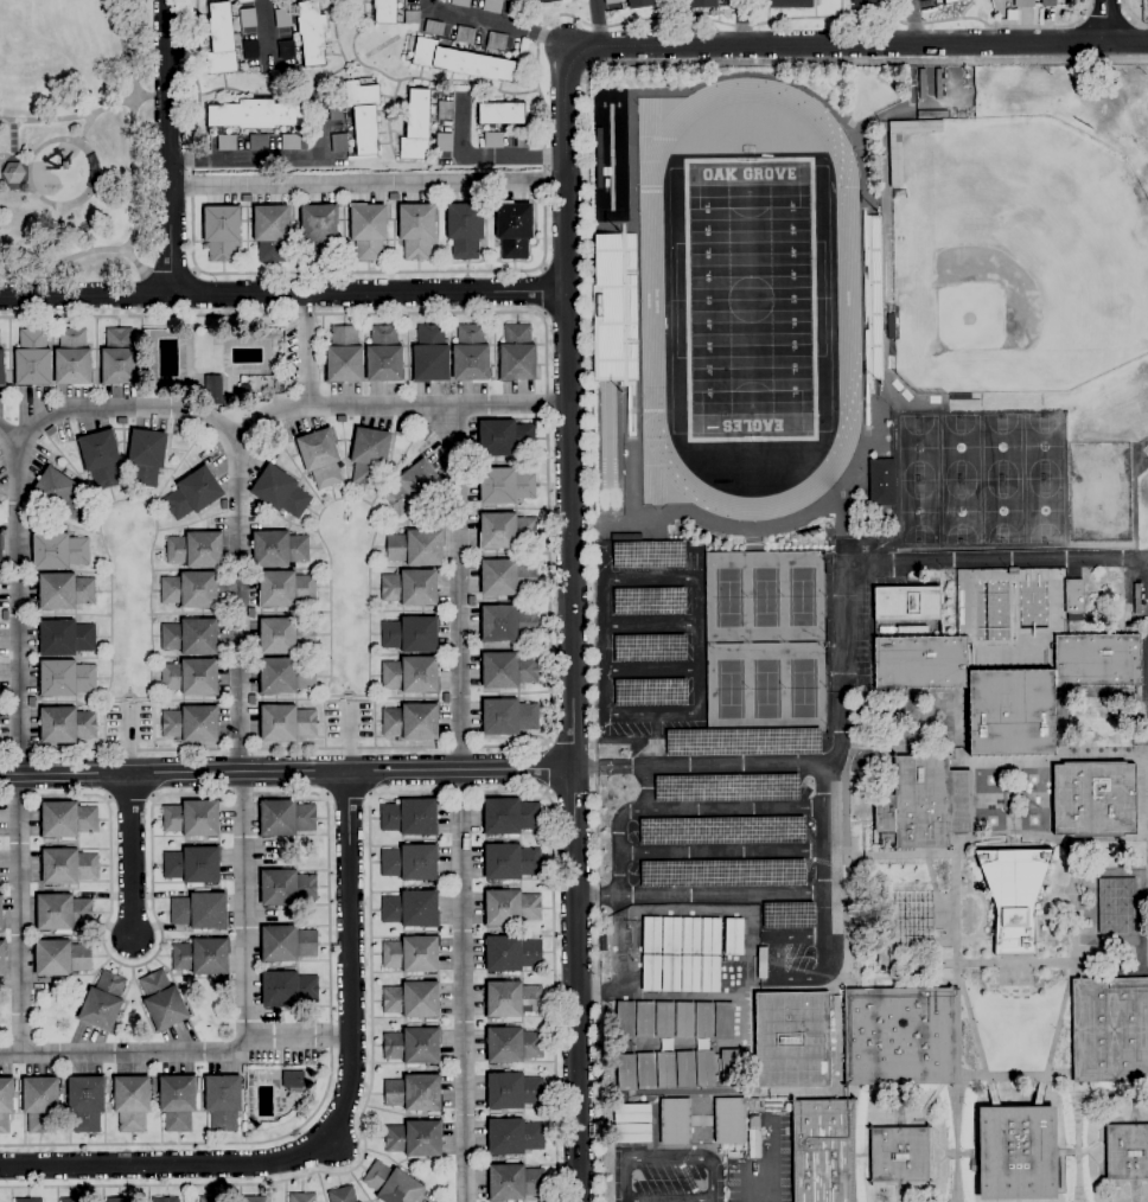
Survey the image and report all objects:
building: (921, 0)
building: (547, 1)
building: (951, 1)
building: (460, 2)
building: (611, 2)
building: (639, 4)
building: (701, 4)
building: (784, 4)
building: (862, 4)
building: (1023, 4)
building: (1047, 4)
building: (1147, 4)
building: (492, 6)
building: (384, 11)
building: (247, 18)
building: (282, 18)
building: (412, 18)
road: (1128, 19)
road: (913, 20)
road: (1106, 20)
road: (742, 21)
road: (1103, 21)
road: (598, 23)
road: (499, 25)
building: (434, 27)
road: (266, 31)
building: (311, 32)
building: (465, 36)
building: (221, 40)
building: (496, 41)
road: (856, 43)
road: (125, 49)
building: (250, 50)
building: (286, 50)
building: (460, 62)
building: (921, 84)
park: (869, 96)
building: (445, 110)
building: (336, 111)
building: (500, 114)
building: (932, 114)
road: (84, 115)
building: (255, 115)
building: (363, 116)
road: (87, 127)
building: (416, 127)
building: (916, 127)
building: (275, 133)
road: (13, 140)
park: (76, 140)
building: (522, 140)
building: (492, 141)
building: (225, 142)
building: (259, 142)
building: (291, 142)
building: (444, 142)
building: (338, 143)
road: (168, 146)
road: (40, 147)
road: (485, 158)
road: (15, 159)
building: (895, 160)
road: (274, 161)
road: (544, 170)
building: (13, 173)
road: (133, 173)
road: (368, 185)
road: (17, 190)
building: (512, 229)
building: (318, 230)
building: (368, 230)
building: (465, 230)
building: (416, 231)
building: (221, 232)
building: (270, 232)
park: (1014, 256)
road: (63, 260)
road: (134, 261)
road: (168, 273)
road: (541, 292)
road: (282, 294)
track: (651, 300)
park: (750, 300)
building: (607, 311)
road: (321, 314)
building: (891, 327)
road: (305, 350)
building: (430, 354)
building: (517, 354)
road: (588, 354)
building: (344, 356)
building: (384, 356)
building: (471, 356)
building: (32, 358)
building: (119, 358)
building: (72, 359)
building: (1, 367)
building: (279, 386)
building: (212, 390)
building: (959, 397)
road: (396, 405)
building: (504, 439)
park: (1044, 447)
park: (918, 448)
park: (959, 448)
park: (1002, 448)
building: (369, 456)
building: (146, 458)
building: (320, 458)
building: (101, 460)
building: (880, 482)
building: (505, 486)
building: (413, 487)
building: (280, 492)
building: (1, 493)
building: (193, 493)
building: (59, 494)
park: (1045, 511)
park: (919, 512)
park: (961, 512)
park: (1002, 512)
building: (505, 531)
building: (415, 549)
building: (279, 550)
building: (58, 551)
building: (196, 551)
building: (0, 552)
road: (900, 567)
building: (1012, 571)
building: (506, 577)
road: (651, 578)
building: (410, 588)
building: (285, 589)
building: (189, 590)
building: (64, 592)
road: (697, 599)
building: (1073, 599)
building: (906, 603)
road: (240, 618)
road: (350, 618)
building: (1116, 620)
road: (128, 621)
road: (652, 621)
building: (508, 624)
road: (570, 628)
road: (549, 629)
building: (913, 629)
building: (885, 631)
building: (410, 635)
building: (285, 637)
building: (190, 638)
building: (65, 639)
park: (766, 640)
road: (607, 646)
building: (1097, 660)
building: (920, 663)
road: (697, 664)
building: (509, 670)
road: (652, 671)
building: (412, 674)
building: (286, 676)
building: (66, 678)
building: (190, 678)
road: (655, 714)
building: (1012, 714)
building: (509, 717)
building: (412, 722)
building: (286, 723)
building: (191, 724)
building: (65, 725)
road: (349, 736)
road: (17, 737)
road: (127, 739)
road: (653, 740)
road: (338, 749)
road: (4, 752)
road: (119, 752)
road: (726, 766)
road: (547, 767)
road: (600, 767)
parking lot: (702, 769)
road: (286, 772)
road: (4, 797)
road: (347, 798)
building: (1093, 799)
building: (924, 803)
road: (459, 804)
road: (729, 810)
building: (510, 817)
building: (286, 818)
building: (410, 818)
building: (192, 819)
building: (68, 820)
road: (619, 824)
road: (823, 827)
road: (720, 852)
road: (129, 855)
building: (509, 862)
building: (410, 863)
building: (192, 864)
building: (68, 867)
building: (287, 888)
building: (1110, 889)
road: (699, 895)
building: (1014, 895)
building: (510, 908)
building: (410, 909)
building: (200, 912)
building: (62, 913)
road: (823, 913)
building: (0, 915)
building: (914, 920)
building: (1108, 925)
building: (651, 935)
building: (671, 935)
building: (690, 936)
building: (710, 936)
building: (734, 936)
building: (287, 944)
road: (554, 948)
building: (412, 954)
building: (511, 954)
building: (202, 957)
building: (60, 958)
building: (1, 960)
road: (121, 965)
building: (759, 966)
building: (651, 973)
building: (671, 973)
building: (690, 973)
building: (710, 974)
road: (779, 978)
building: (287, 990)
building: (512, 999)
building: (162, 1000)
building: (413, 1000)
building: (103, 1002)
building: (625, 1019)
building: (644, 1019)
building: (664, 1021)
building: (684, 1021)
building: (703, 1021)
building: (723, 1021)
building: (1109, 1029)
building: (901, 1037)
building: (792, 1040)
building: (413, 1046)
building: (512, 1046)
road: (179, 1057)
building: (704, 1068)
building: (729, 1068)
building: (685, 1069)
building: (645, 1070)
building: (665, 1070)
road: (330, 1072)
building: (626, 1073)
building: (293, 1080)
building: (514, 1091)
building: (414, 1093)
building: (178, 1101)
building: (223, 1101)
building: (40, 1102)
building: (87, 1102)
building: (6, 1104)
building: (132, 1104)
building: (631, 1113)
building: (729, 1120)
building: (675, 1121)
road: (359, 1123)
road: (336, 1126)
building: (632, 1133)
building: (514, 1137)
building: (415, 1138)
building: (754, 1138)
building: (823, 1151)
building: (1127, 1152)
building: (1018, 1153)
building: (734, 1155)
building: (899, 1155)
road: (770, 1168)
parking lot: (661, 1177)
road: (621, 1179)
road: (709, 1179)
building: (515, 1182)
building: (391, 1184)
building: (342, 1195)
building: (302, 1197)
building: (257, 1198)
building: (28, 1200)
building: (75, 1200)
building: (120, 1200)
building: (166, 1200)
building: (210, 1200)
road: (709, 1201)

